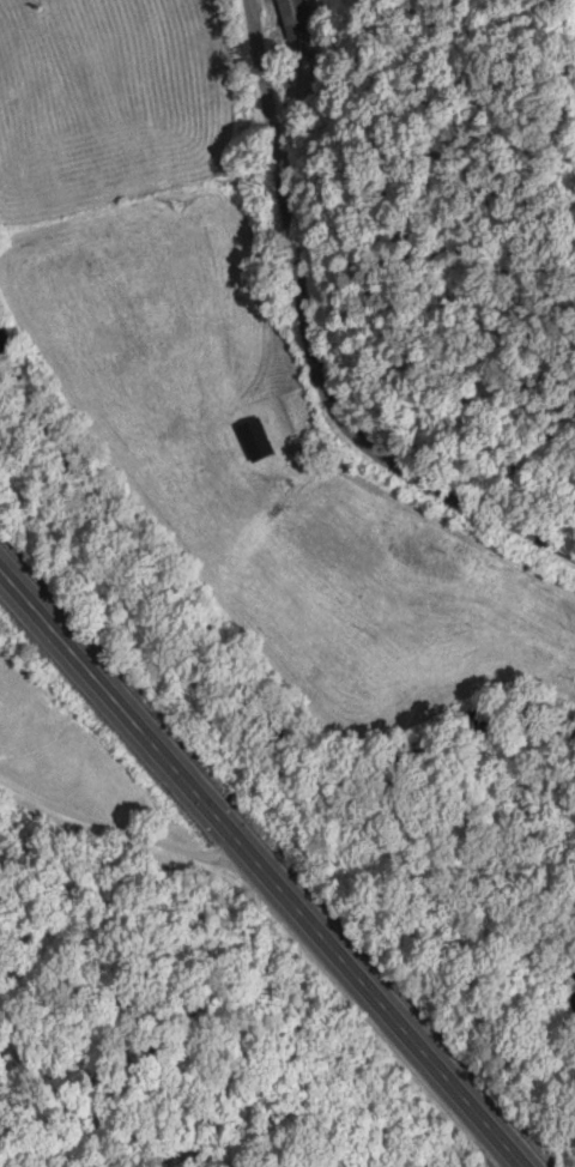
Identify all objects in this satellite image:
road: (332, 333)
road: (261, 866)

